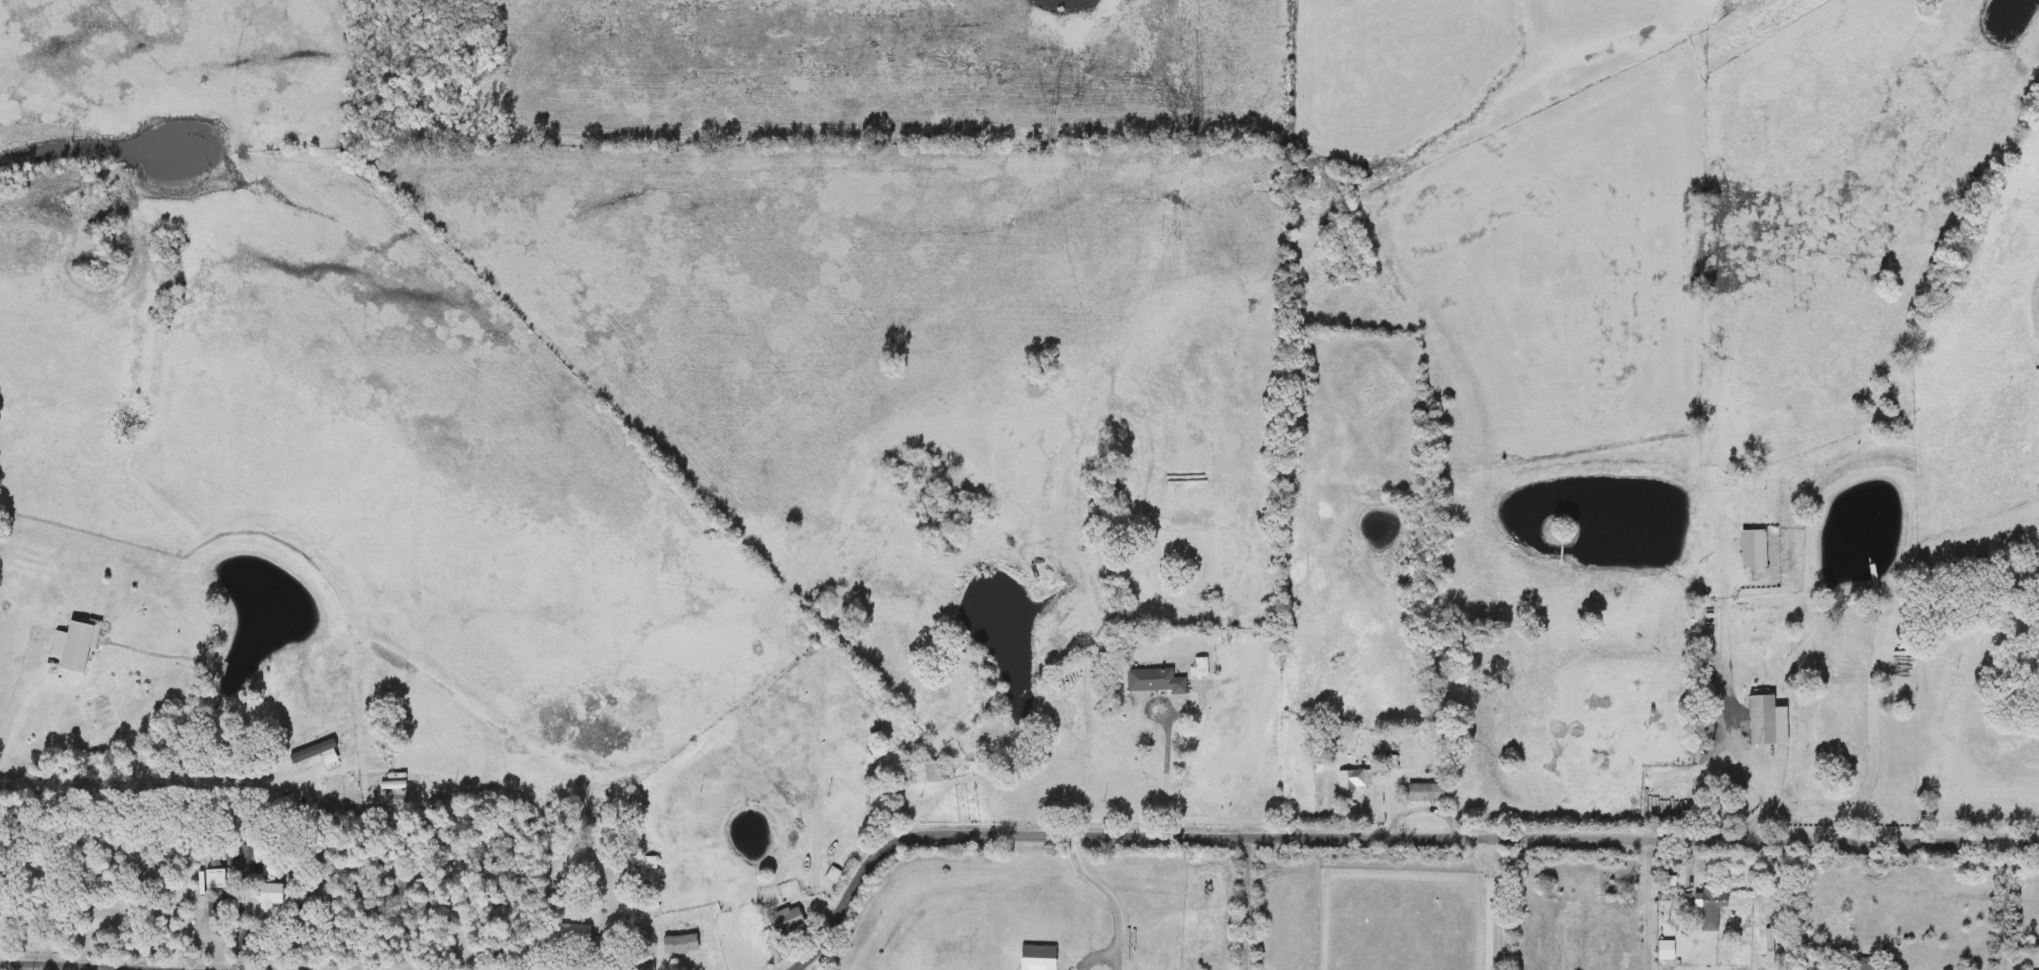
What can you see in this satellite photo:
building: (2017, 15)
building: (946, 510)
building: (949, 545)
building: (2010, 580)
building: (1115, 589)
building: (1154, 680)
road: (18, 705)
building: (1759, 719)
road: (1731, 723)
road: (1876, 769)
road: (1167, 770)
building: (925, 772)
building: (1356, 778)
building: (1425, 792)
road: (1425, 803)
road: (1383, 833)
building: (264, 848)
building: (214, 860)
building: (652, 862)
road: (1106, 887)
building: (271, 895)
road: (1248, 900)
road: (1494, 902)
road: (1646, 903)
road: (2003, 905)
building: (1709, 907)
building: (789, 918)
road: (240, 926)
building: (574, 935)
building: (682, 944)
road: (1119, 955)
road: (131, 964)
building: (1864, 964)

